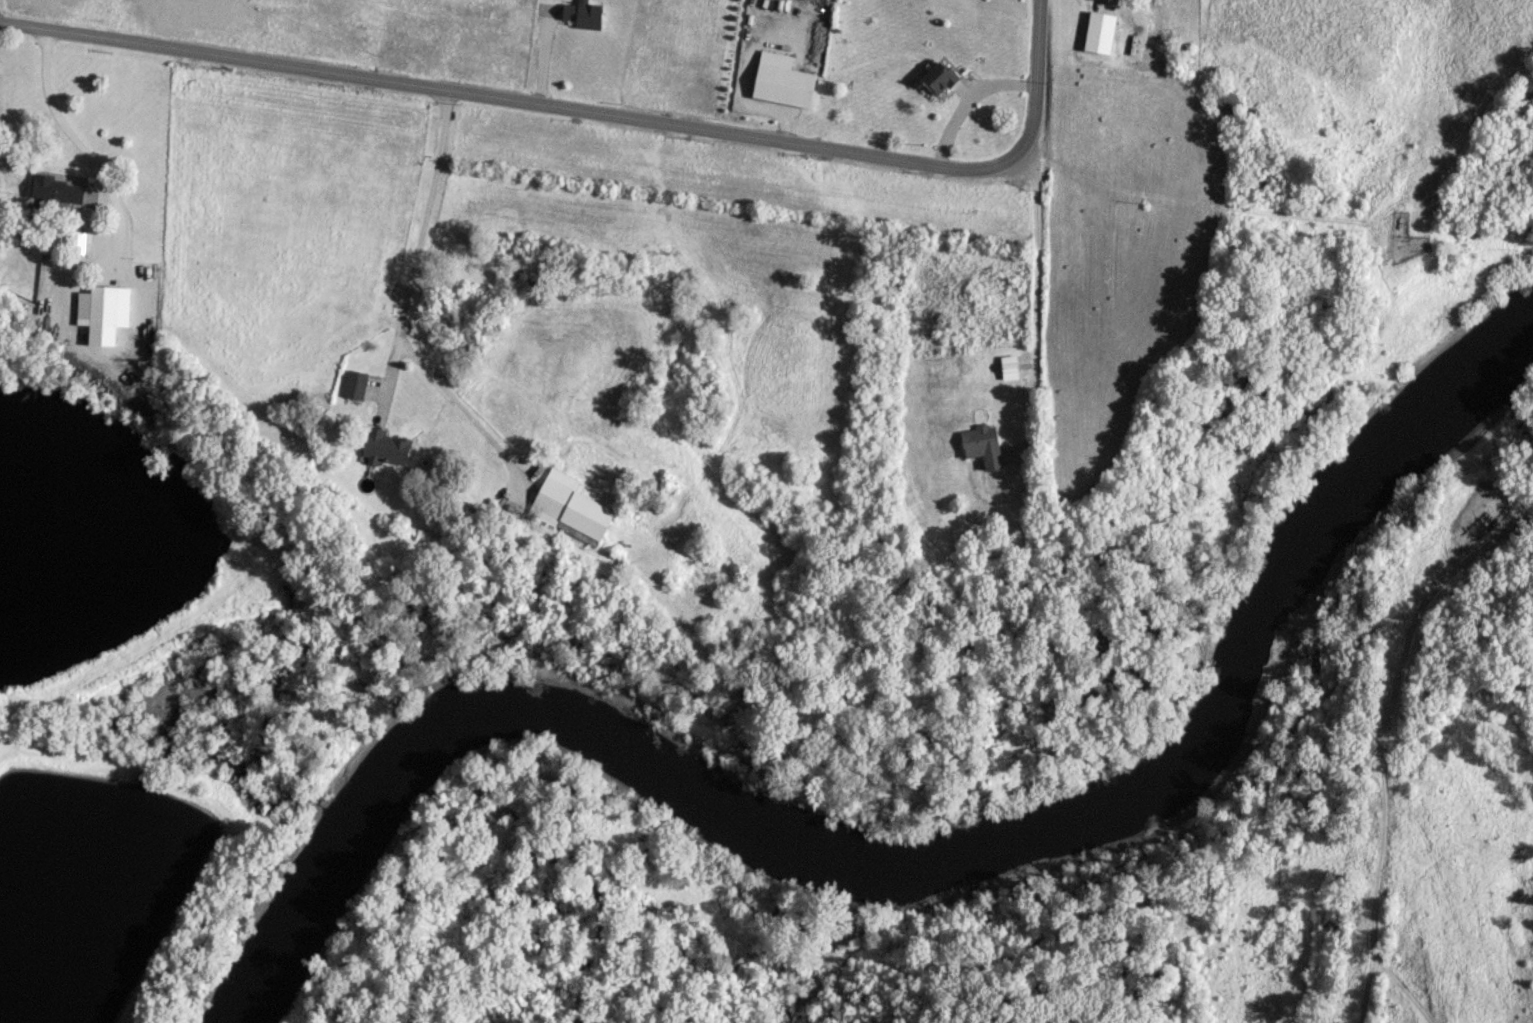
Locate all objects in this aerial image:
road: (1139, 2)
building: (1093, 11)
building: (583, 14)
building: (1162, 45)
road: (543, 57)
building: (938, 78)
road: (745, 80)
building: (782, 80)
road: (966, 99)
road: (588, 113)
building: (54, 188)
road: (420, 233)
building: (76, 242)
road: (128, 267)
road: (1036, 299)
building: (103, 312)
building: (1008, 367)
building: (354, 386)
building: (982, 444)
building: (386, 447)
building: (570, 507)
road: (1454, 922)
road: (1214, 978)

